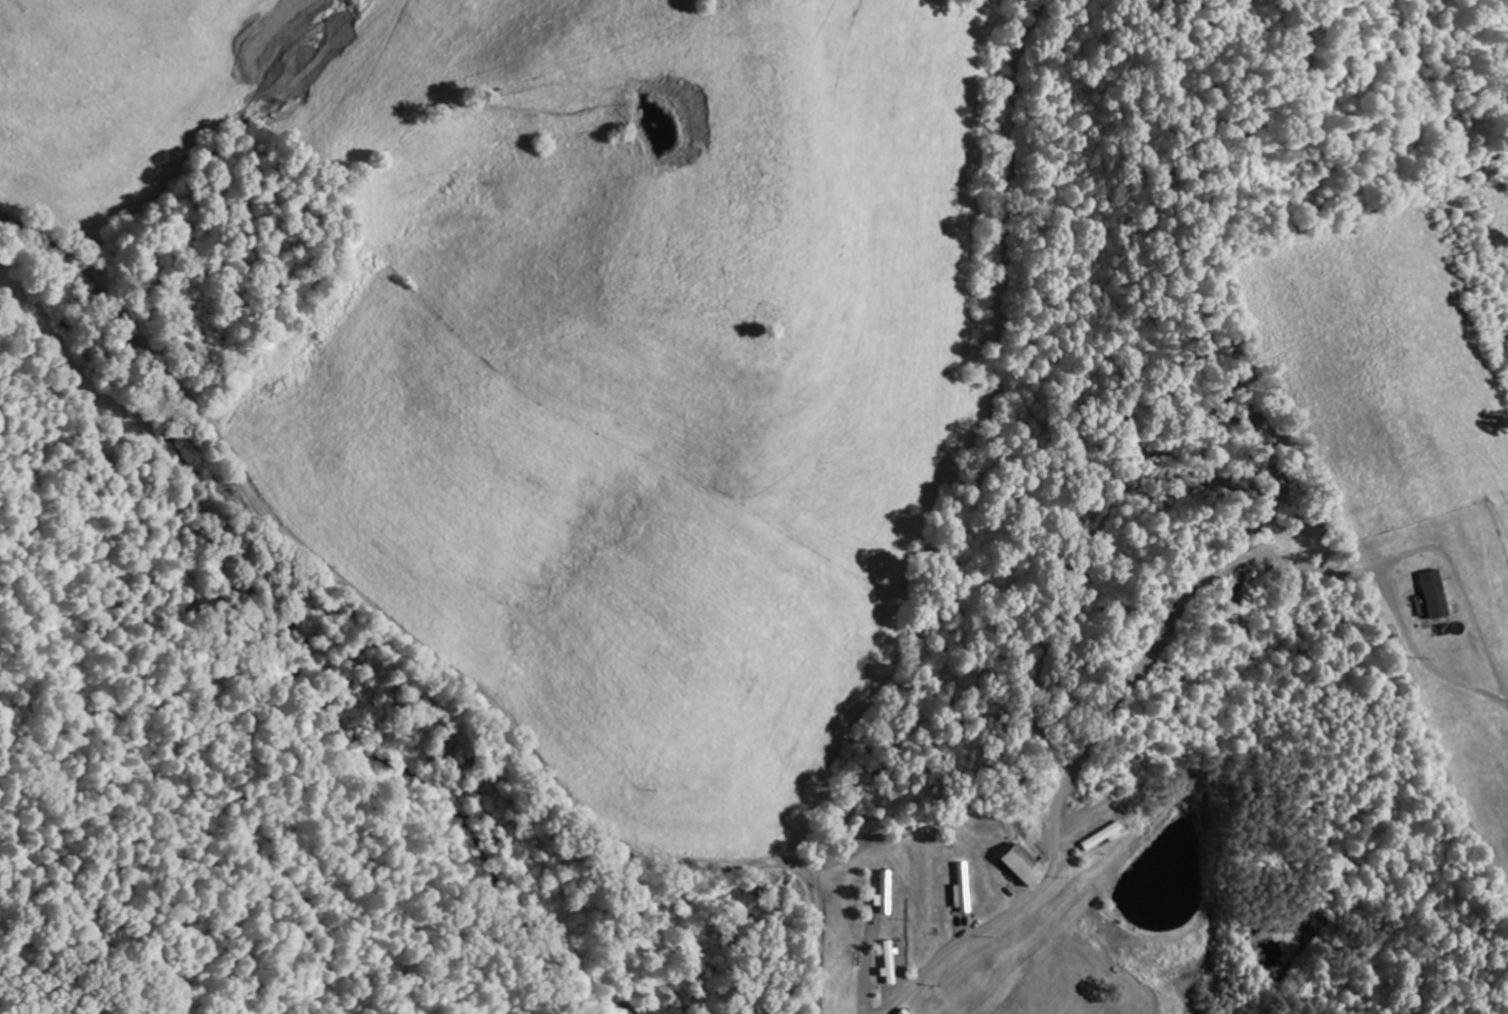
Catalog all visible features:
building: (1236, 587)
road: (425, 649)
road: (1097, 739)
building: (1019, 864)
building: (884, 892)

